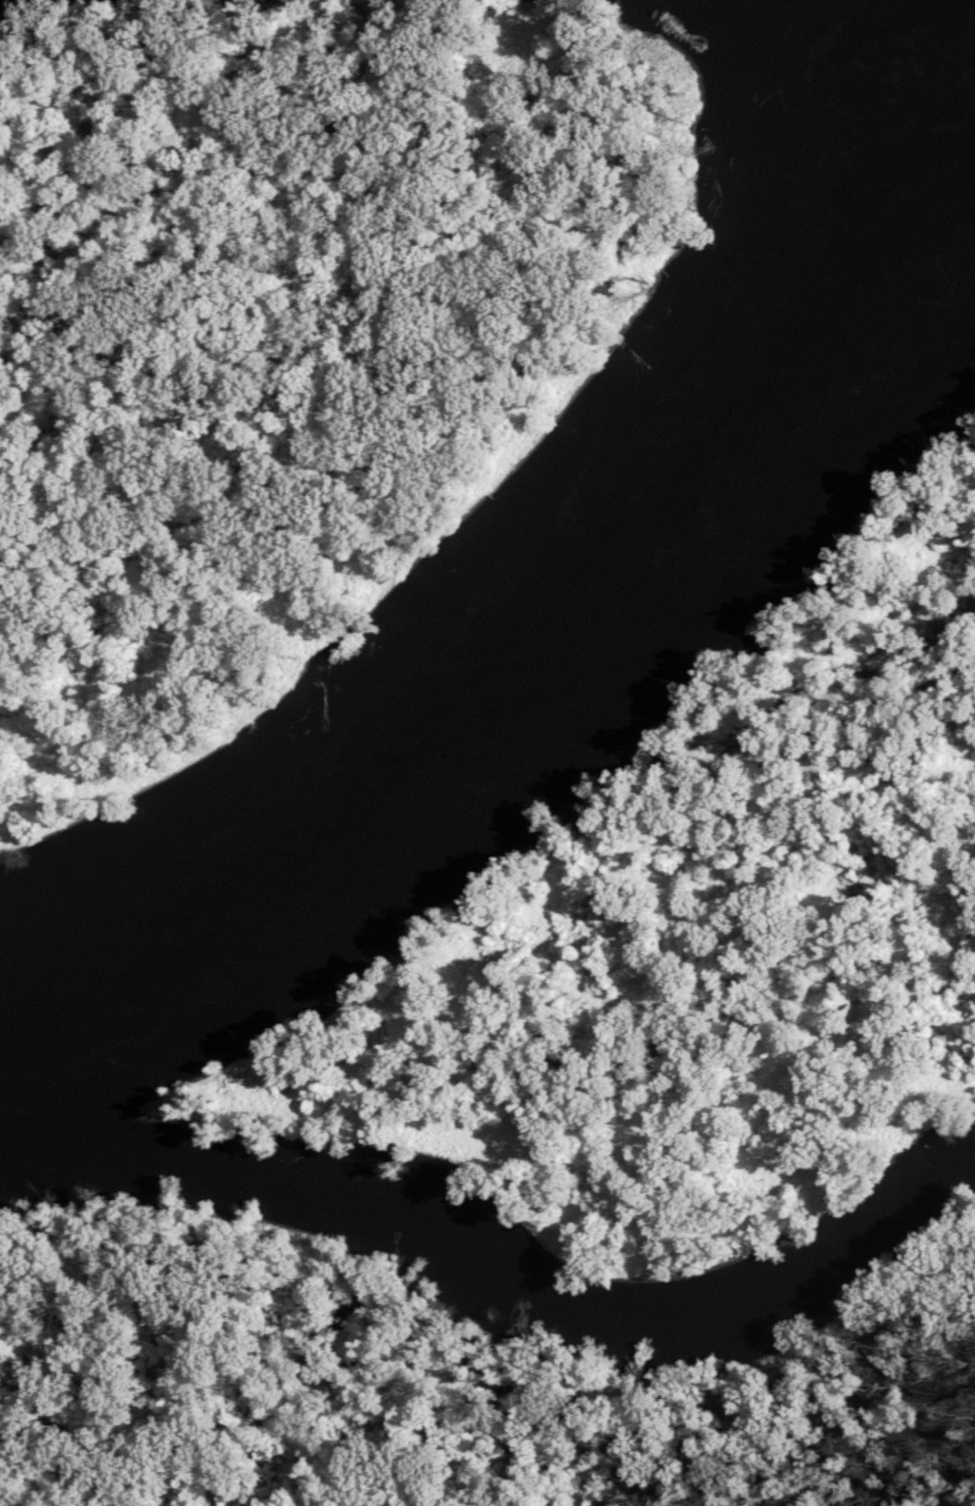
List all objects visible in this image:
road: (921, 1500)

